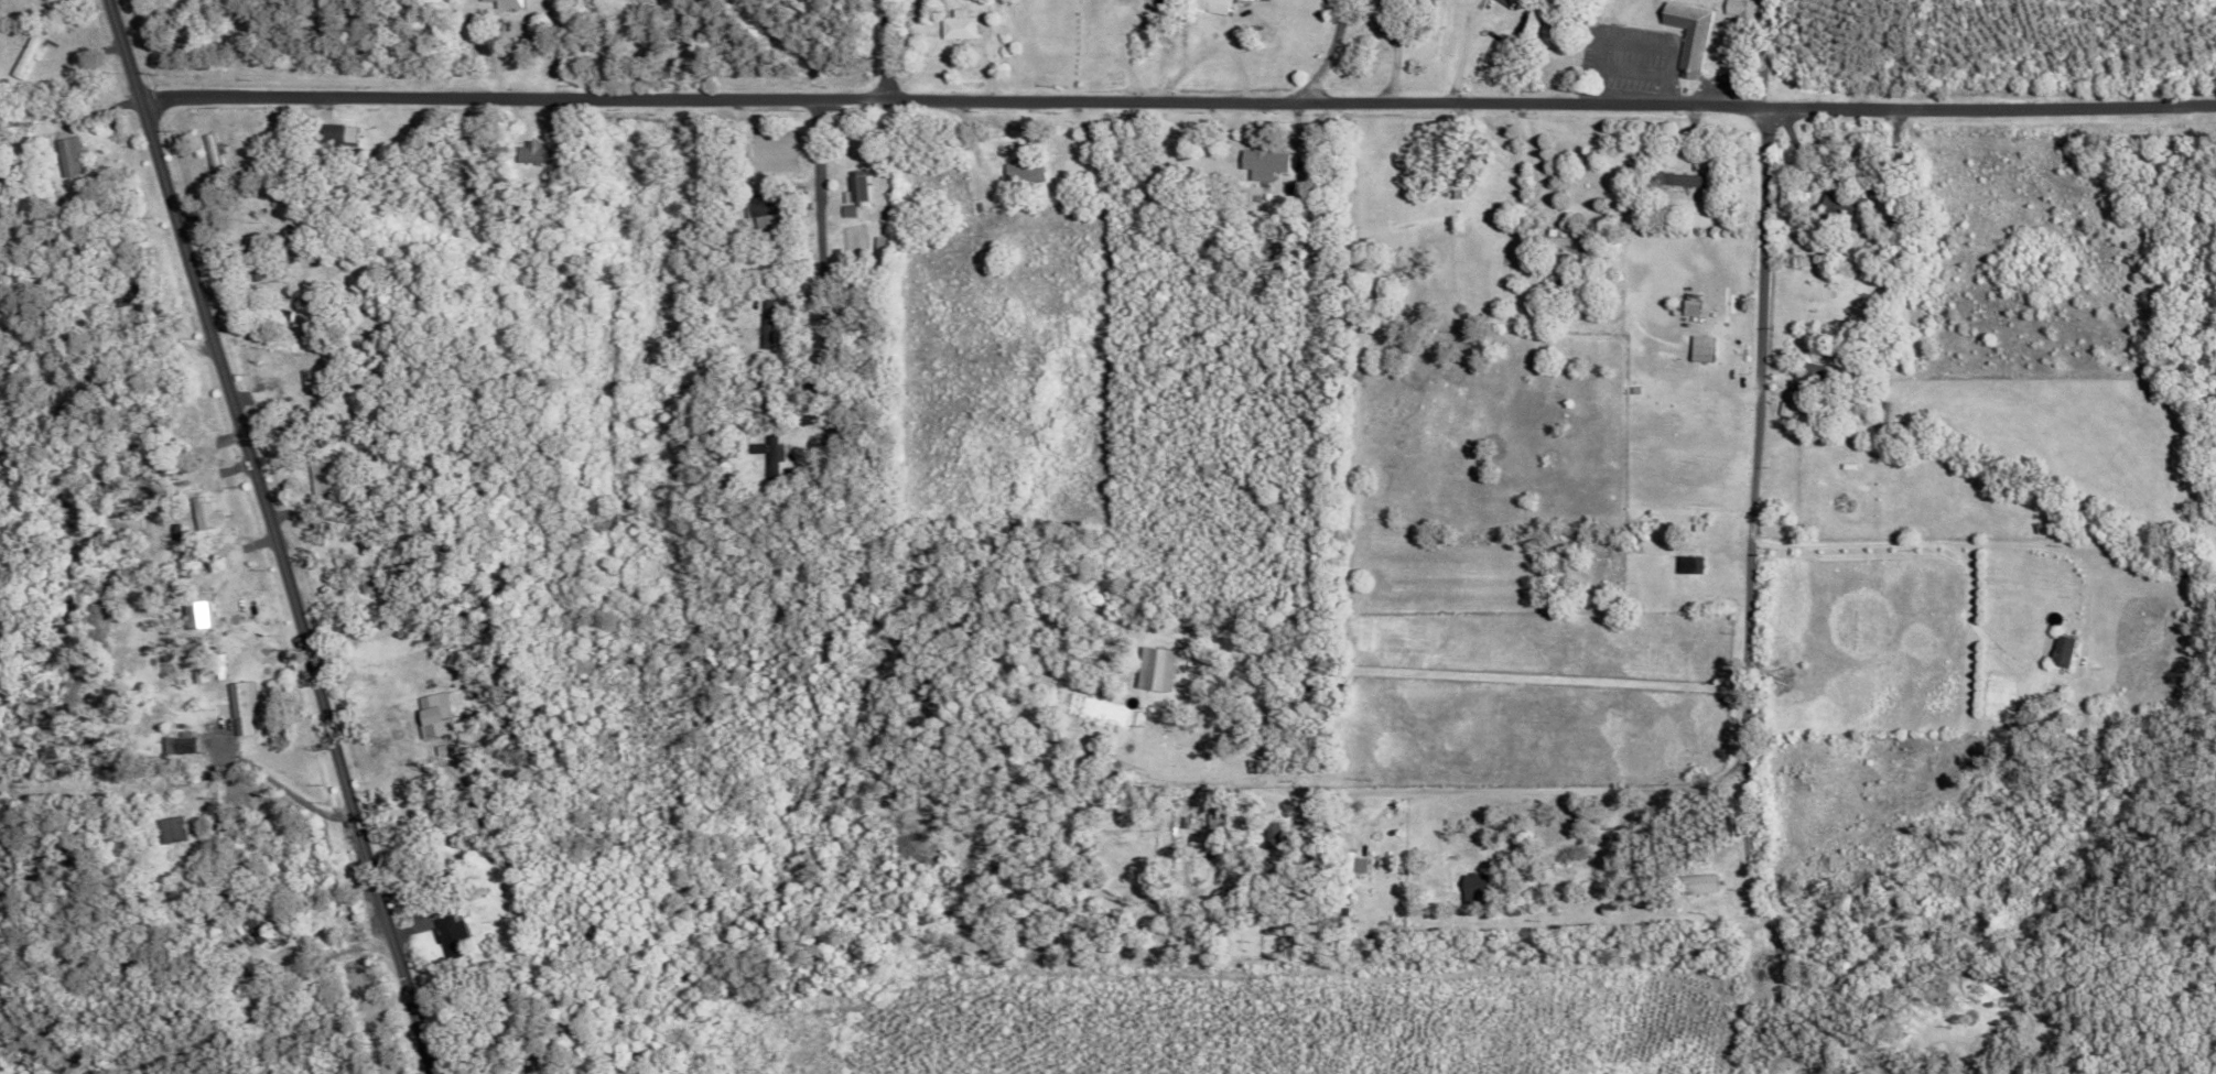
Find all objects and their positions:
building: (479, 0)
building: (1506, 2)
building: (506, 3)
building: (1208, 6)
building: (1737, 8)
building: (955, 25)
building: (1686, 34)
road: (1458, 51)
building: (25, 53)
road: (1321, 54)
road: (891, 55)
road: (1181, 104)
building: (209, 151)
building: (528, 152)
building: (67, 156)
building: (1262, 163)
building: (1021, 172)
building: (1449, 185)
building: (1838, 207)
building: (1558, 240)
building: (763, 324)
road: (821, 326)
building: (1698, 348)
building: (1780, 408)
building: (768, 448)
building: (314, 475)
road: (1741, 493)
building: (199, 512)
road: (275, 536)
building: (1685, 564)
building: (231, 610)
building: (2060, 650)
building: (1153, 669)
road: (1484, 675)
building: (236, 706)
building: (433, 712)
building: (176, 744)
road: (1566, 788)
building: (170, 829)
building: (1474, 882)
building: (1695, 883)
building: (1472, 897)
building: (249, 929)
building: (447, 934)
road: (263, 952)

